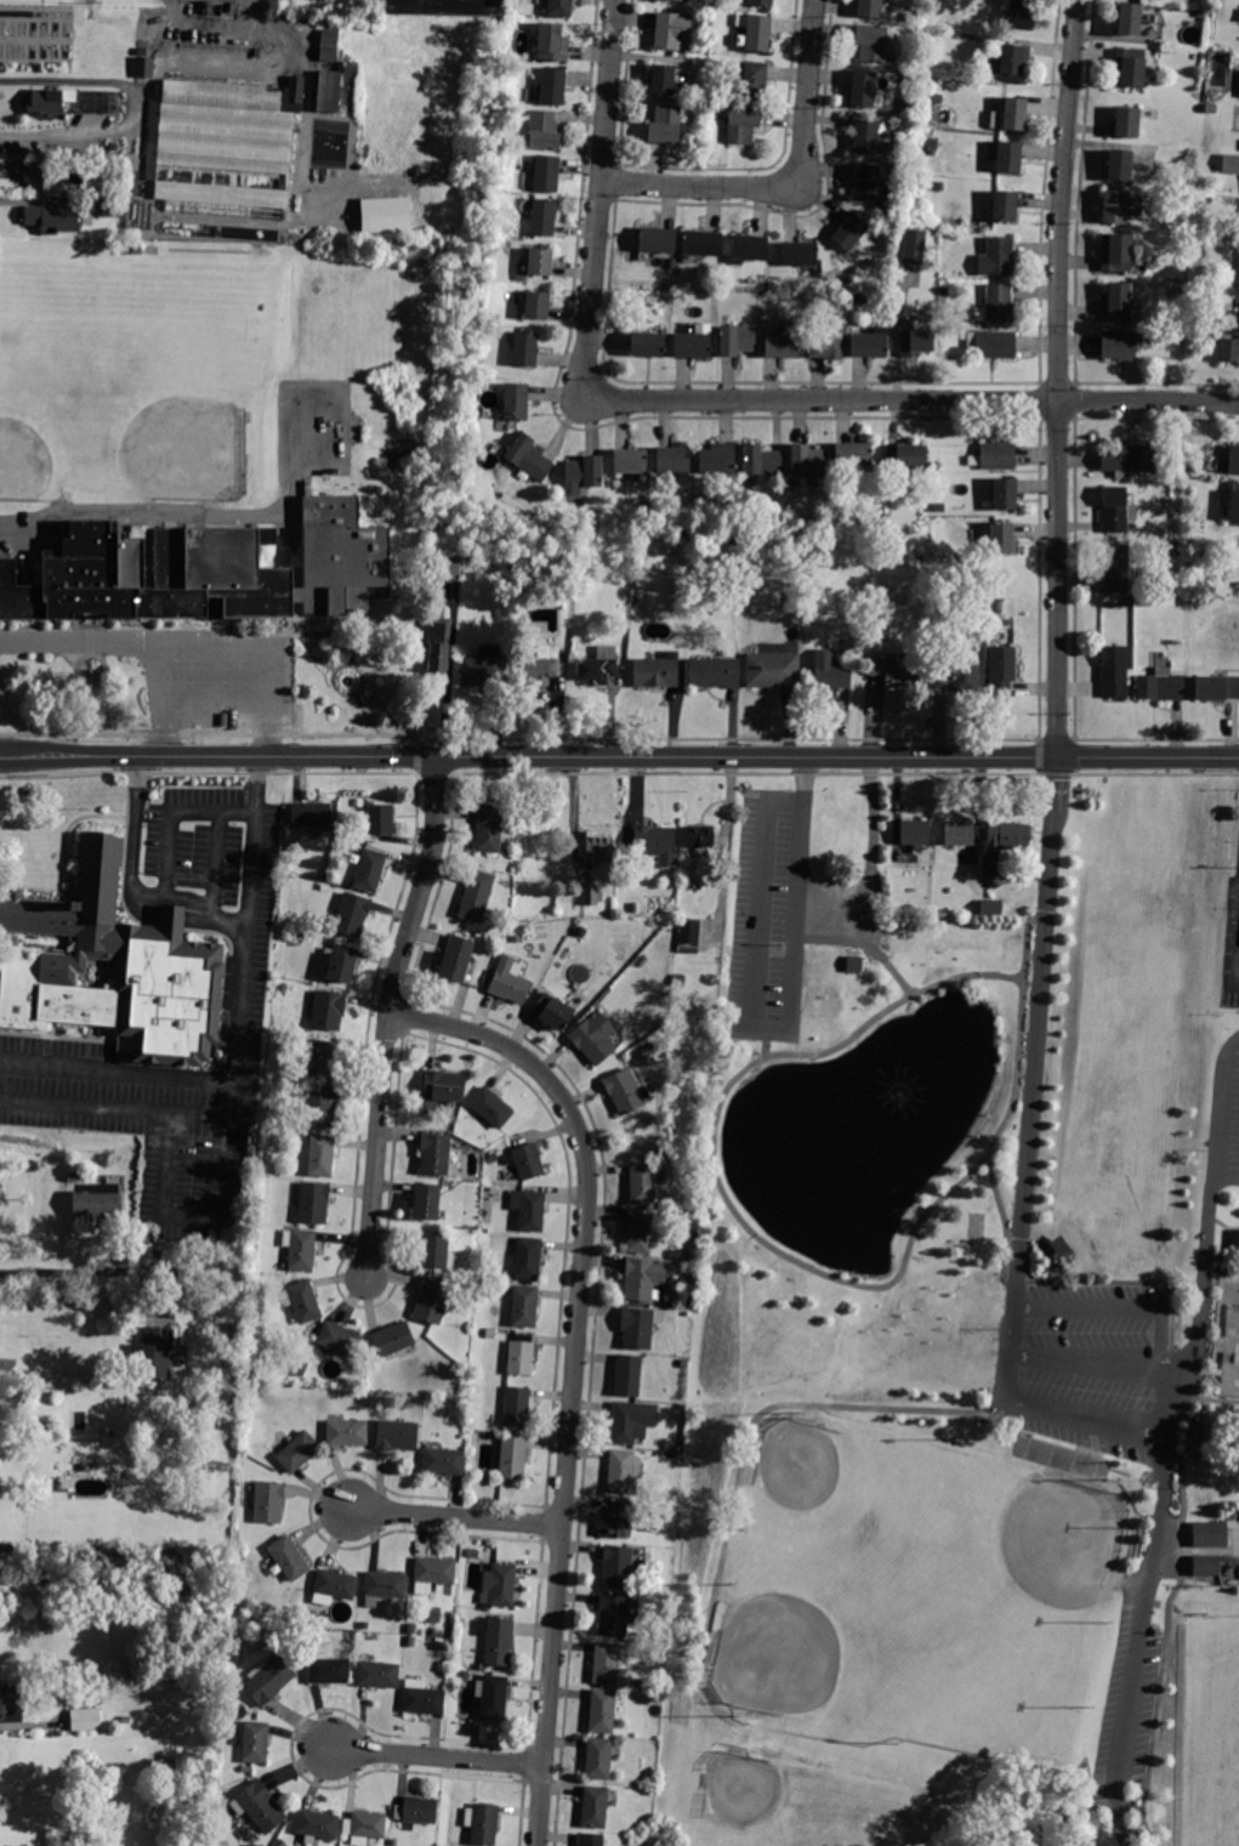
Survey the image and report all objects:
building: (677, 0)
building: (761, 2)
building: (443, 7)
building: (559, 8)
building: (869, 8)
building: (1019, 13)
building: (1130, 19)
building: (671, 30)
building: (755, 32)
building: (330, 42)
building: (552, 42)
building: (871, 42)
building: (1008, 59)
building: (144, 67)
building: (1129, 68)
building: (663, 79)
building: (754, 81)
building: (552, 86)
building: (863, 89)
building: (328, 91)
building: (106, 100)
building: (936, 100)
building: (46, 103)
building: (1013, 114)
building: (1125, 123)
building: (665, 125)
building: (741, 125)
building: (326, 127)
building: (544, 131)
building: (326, 134)
building: (865, 136)
building: (322, 140)
building: (118, 148)
building: (223, 152)
building: (1006, 158)
building: (1231, 164)
building: (1121, 166)
building: (546, 174)
building: (41, 176)
building: (866, 182)
building: (938, 186)
road: (794, 188)
building: (1002, 206)
building: (1114, 208)
building: (109, 209)
building: (1238, 209)
building: (135, 214)
building: (385, 215)
building: (53, 218)
building: (542, 218)
building: (511, 232)
building: (849, 232)
building: (657, 240)
building: (1192, 242)
building: (701, 243)
building: (748, 248)
building: (914, 248)
building: (137, 250)
building: (1116, 252)
building: (798, 254)
building: (996, 257)
building: (540, 261)
building: (671, 263)
building: (858, 300)
building: (1118, 303)
building: (996, 305)
building: (538, 307)
park: (132, 319)
building: (914, 339)
building: (737, 340)
building: (648, 343)
building: (694, 343)
building: (826, 343)
building: (869, 345)
building: (991, 345)
building: (1120, 345)
building: (782, 346)
building: (1228, 347)
building: (525, 350)
road: (1058, 377)
road: (709, 401)
park: (149, 402)
building: (516, 402)
park: (53, 422)
building: (853, 455)
building: (994, 456)
building: (528, 458)
building: (906, 458)
building: (717, 459)
building: (674, 460)
building: (807, 460)
building: (1129, 460)
building: (1233, 460)
building: (630, 461)
building: (761, 461)
building: (1189, 468)
building: (582, 475)
building: (1004, 494)
building: (1231, 501)
building: (939, 507)
building: (1115, 510)
road: (201, 513)
building: (999, 536)
building: (591, 540)
building: (201, 568)
building: (524, 569)
building: (1115, 569)
building: (448, 572)
building: (795, 597)
building: (998, 607)
road: (323, 617)
road: (334, 617)
building: (1002, 621)
road: (86, 624)
road: (218, 624)
road: (286, 627)
road: (251, 631)
road: (314, 631)
road: (220, 637)
road: (63, 638)
road: (86, 640)
road: (144, 641)
road: (172, 644)
road: (262, 644)
road: (349, 644)
building: (438, 651)
road: (309, 652)
road: (95, 653)
building: (482, 666)
building: (540, 666)
building: (598, 666)
building: (773, 670)
building: (657, 671)
building: (1001, 671)
building: (1115, 671)
building: (715, 672)
building: (830, 672)
flagpole: (93, 674)
parking lot: (217, 674)
building: (896, 674)
building: (957, 676)
road: (163, 681)
road: (212, 682)
building: (1160, 687)
building: (1216, 688)
road: (346, 692)
road: (362, 712)
road: (215, 720)
road: (212, 732)
road: (166, 735)
road: (728, 737)
road: (266, 738)
road: (1056, 738)
road: (1156, 738)
road: (415, 756)
road: (619, 756)
road: (1040, 756)
road: (210, 771)
road: (433, 771)
road: (842, 772)
road: (255, 773)
road: (1055, 783)
flagpole: (1091, 794)
road: (254, 800)
flagpole: (81, 808)
road: (170, 810)
road: (131, 816)
building: (311, 816)
road: (142, 817)
building: (380, 819)
road: (1052, 822)
road: (66, 827)
building: (490, 829)
building: (915, 833)
building: (960, 833)
building: (1007, 836)
building: (700, 837)
building: (654, 845)
building: (1210, 846)
building: (599, 847)
road: (69, 854)
road: (212, 858)
building: (370, 870)
road: (871, 874)
road: (130, 880)
road: (36, 885)
building: (476, 896)
building: (592, 896)
road: (118, 901)
building: (632, 907)
building: (991, 908)
road: (164, 913)
building: (351, 915)
road: (170, 920)
road: (865, 933)
building: (688, 936)
road: (241, 944)
road: (865, 944)
road: (1237, 953)
building: (456, 959)
building: (643, 961)
building: (340, 962)
building: (853, 964)
building: (110, 967)
building: (678, 981)
building: (508, 982)
road: (1237, 983)
building: (328, 1010)
building: (552, 1012)
road: (386, 1013)
road: (50, 1028)
road: (772, 1030)
road: (89, 1032)
road: (67, 1035)
building: (593, 1038)
building: (328, 1060)
road: (115, 1072)
building: (308, 1072)
building: (444, 1086)
building: (624, 1091)
road: (1030, 1094)
road: (227, 1098)
road: (1014, 1098)
road: (112, 1106)
building: (319, 1107)
building: (491, 1107)
fountain: (843, 1112)
building: (245, 1135)
building: (433, 1154)
building: (322, 1157)
building: (491, 1158)
building: (528, 1161)
road: (715, 1165)
road: (1224, 1174)
building: (642, 1185)
road: (1209, 1199)
building: (97, 1202)
building: (426, 1202)
building: (312, 1203)
building: (529, 1210)
road: (188, 1216)
building: (641, 1232)
building: (1234, 1242)
building: (1059, 1244)
building: (300, 1249)
building: (433, 1250)
building: (528, 1259)
road: (78, 1271)
building: (642, 1278)
building: (454, 1299)
building: (301, 1301)
building: (432, 1301)
road: (1023, 1305)
road: (1159, 1305)
building: (523, 1306)
building: (640, 1327)
building: (490, 1333)
park: (1228, 1337)
building: (392, 1339)
building: (337, 1341)
park: (961, 1348)
building: (155, 1353)
road: (1021, 1356)
building: (519, 1358)
road: (1097, 1362)
building: (8, 1364)
road: (1171, 1367)
building: (300, 1368)
road: (574, 1369)
building: (627, 1375)
building: (516, 1405)
road: (1047, 1408)
building: (630, 1422)
road: (1152, 1427)
building: (41, 1432)
building: (347, 1433)
building: (397, 1436)
building: (1211, 1436)
road: (1173, 1448)
building: (295, 1452)
building: (512, 1458)
building: (442, 1461)
road: (1182, 1470)
building: (623, 1471)
building: (268, 1503)
road: (456, 1517)
building: (616, 1521)
building: (1210, 1534)
park: (846, 1535)
road: (1183, 1550)
road: (1199, 1551)
building: (289, 1558)
building: (1205, 1566)
building: (616, 1567)
park: (990, 1573)
building: (432, 1574)
building: (500, 1584)
building: (335, 1585)
building: (383, 1586)
park: (852, 1611)
building: (613, 1615)
building: (291, 1617)
building: (433, 1618)
building: (411, 1629)
road: (1135, 1636)
building: (410, 1641)
building: (499, 1642)
road: (703, 1660)
building: (607, 1663)
building: (328, 1670)
building: (377, 1675)
building: (268, 1680)
building: (491, 1696)
building: (16, 1699)
building: (422, 1699)
building: (602, 1711)
road: (1158, 1712)
building: (85, 1720)
building: (125, 1720)
park: (1210, 1729)
building: (254, 1742)
road: (438, 1756)
building: (597, 1757)
park: (783, 1802)
building: (258, 1806)
building: (593, 1807)
building: (416, 1810)
building: (481, 1824)
building: (316, 1825)
building: (364, 1827)
building: (590, 1840)
building: (251, 1845)

